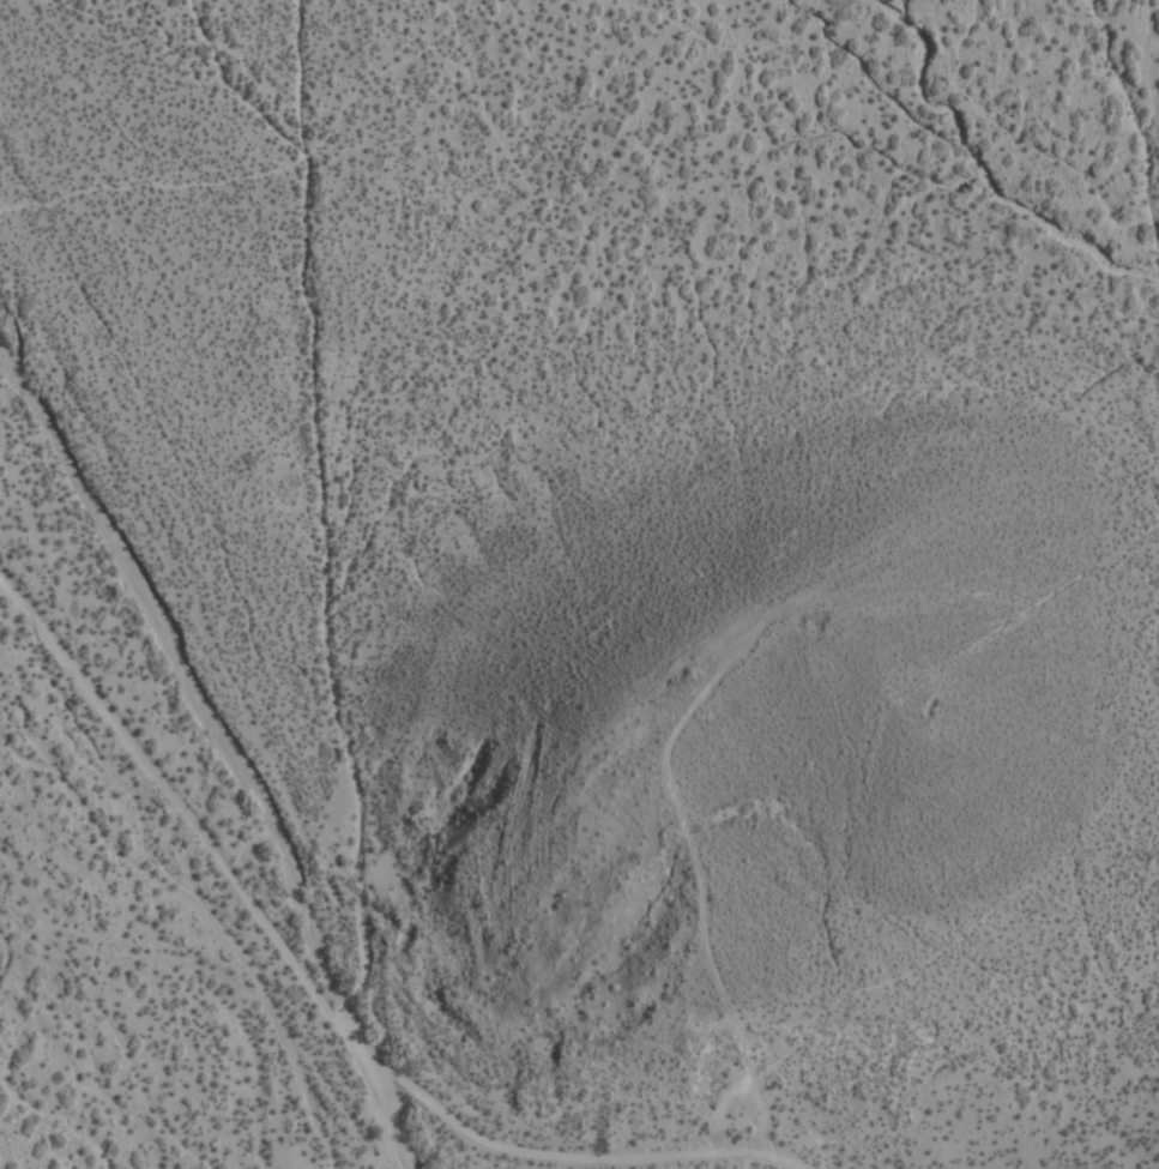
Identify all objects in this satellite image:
road: (964, 173)
road: (113, 717)
road: (692, 858)
road: (459, 1122)
road: (738, 1162)

